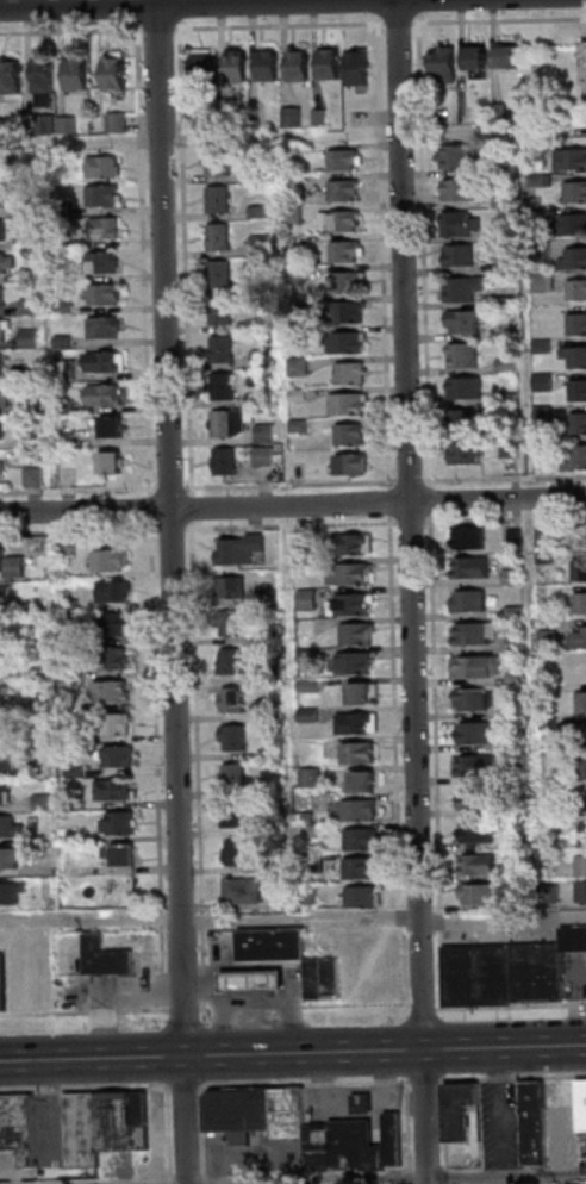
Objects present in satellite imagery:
road: (142, 4)
road: (393, 11)
road: (155, 14)
road: (495, 20)
road: (393, 23)
road: (275, 25)
road: (155, 30)
road: (69, 31)
building: (501, 57)
building: (472, 62)
building: (440, 63)
building: (197, 64)
building: (324, 64)
building: (581, 64)
building: (231, 66)
building: (262, 66)
building: (293, 66)
building: (353, 68)
building: (110, 74)
building: (73, 75)
building: (7, 77)
building: (38, 82)
building: (224, 110)
building: (495, 112)
building: (287, 118)
building: (316, 118)
building: (478, 118)
building: (112, 123)
building: (193, 123)
building: (42, 124)
building: (62, 125)
building: (0, 127)
building: (288, 150)
building: (531, 150)
building: (12, 157)
building: (450, 157)
building: (338, 160)
building: (568, 160)
building: (54, 162)
building: (214, 162)
building: (98, 167)
building: (497, 167)
building: (254, 175)
building: (535, 180)
building: (289, 183)
building: (338, 191)
building: (456, 191)
building: (573, 192)
building: (99, 195)
building: (0, 200)
building: (214, 200)
building: (500, 201)
building: (21, 208)
building: (55, 210)
building: (255, 212)
building: (535, 213)
building: (289, 216)
building: (336, 222)
building: (455, 224)
building: (567, 224)
building: (100, 229)
building: (0, 230)
building: (501, 233)
building: (214, 237)
building: (23, 241)
building: (257, 245)
building: (339, 251)
building: (536, 251)
road: (419, 254)
road: (379, 256)
building: (455, 256)
building: (572, 260)
road: (181, 262)
building: (5, 263)
building: (96, 263)
road: (139, 263)
building: (501, 264)
building: (216, 274)
building: (292, 275)
building: (25, 276)
building: (341, 282)
building: (537, 283)
building: (459, 288)
building: (574, 291)
building: (98, 294)
building: (1, 295)
building: (38, 298)
building: (503, 301)
building: (293, 304)
building: (25, 307)
building: (58, 307)
building: (216, 311)
building: (344, 313)
building: (460, 322)
building: (4, 325)
building: (574, 325)
building: (99, 329)
building: (25, 338)
building: (58, 342)
building: (341, 343)
building: (537, 347)
building: (218, 350)
building: (459, 356)
building: (572, 357)
building: (257, 359)
building: (0, 362)
building: (101, 363)
building: (501, 366)
building: (294, 367)
building: (62, 372)
building: (347, 374)
building: (26, 376)
building: (538, 382)
building: (219, 387)
building: (461, 388)
building: (575, 391)
building: (294, 394)
building: (99, 395)
building: (2, 398)
building: (251, 399)
building: (504, 399)
building: (342, 405)
building: (61, 407)
building: (27, 409)
building: (540, 416)
building: (457, 422)
building: (226, 423)
building: (576, 423)
building: (294, 425)
building: (108, 428)
building: (0, 429)
building: (505, 430)
building: (261, 434)
building: (345, 435)
building: (62, 440)
building: (27, 441)
building: (505, 449)
building: (461, 454)
building: (260, 456)
building: (572, 459)
building: (106, 462)
building: (220, 462)
building: (1, 465)
building: (347, 465)
road: (559, 476)
building: (30, 478)
road: (524, 478)
road: (467, 479)
road: (404, 481)
road: (341, 482)
road: (281, 484)
road: (225, 485)
road: (166, 487)
road: (104, 488)
road: (46, 491)
road: (19, 492)
road: (425, 500)
road: (385, 501)
road: (293, 506)
road: (187, 509)
road: (146, 510)
road: (559, 517)
road: (524, 518)
road: (467, 521)
road: (406, 523)
road: (341, 524)
road: (281, 526)
road: (226, 528)
road: (168, 530)
road: (77, 531)
building: (578, 537)
building: (463, 538)
building: (511, 538)
building: (538, 538)
building: (298, 542)
building: (344, 544)
building: (64, 548)
building: (236, 550)
building: (541, 559)
building: (105, 562)
building: (10, 566)
building: (465, 568)
building: (578, 571)
building: (343, 574)
building: (509, 577)
building: (226, 587)
building: (110, 591)
building: (4, 597)
building: (266, 597)
building: (303, 600)
building: (35, 602)
building: (465, 602)
road: (410, 603)
building: (578, 603)
building: (347, 605)
building: (66, 606)
road: (170, 606)
building: (510, 612)
building: (226, 623)
building: (110, 625)
building: (2, 628)
building: (301, 629)
building: (353, 634)
building: (468, 634)
building: (68, 637)
building: (267, 637)
building: (578, 638)
building: (544, 640)
building: (511, 643)
building: (301, 655)
building: (107, 659)
building: (2, 660)
building: (226, 661)
building: (349, 663)
building: (472, 666)
building: (580, 667)
building: (69, 672)
building: (267, 674)
building: (512, 678)
building: (303, 686)
building: (549, 687)
building: (107, 692)
building: (356, 696)
building: (0, 699)
building: (469, 699)
building: (229, 700)
building: (37, 703)
building: (580, 703)
building: (69, 704)
building: (269, 711)
building: (304, 716)
building: (546, 723)
building: (112, 724)
building: (350, 724)
building: (470, 733)
building: (580, 735)
building: (70, 737)
building: (230, 739)
building: (512, 742)
building: (269, 752)
building: (354, 754)
building: (114, 756)
road: (392, 760)
building: (6, 762)
road: (432, 764)
road: (193, 765)
building: (469, 766)
road: (154, 767)
building: (580, 768)
building: (70, 771)
building: (515, 772)
building: (229, 777)
building: (306, 777)
building: (359, 783)
building: (110, 791)
building: (1, 796)
building: (473, 799)
building: (37, 802)
building: (73, 804)
building: (516, 809)
building: (354, 811)
building: (230, 815)
building: (114, 824)
building: (7, 828)
building: (307, 831)
building: (472, 831)
building: (581, 834)
building: (73, 837)
building: (357, 840)
building: (516, 841)
building: (71, 850)
building: (232, 854)
building: (117, 855)
building: (551, 855)
building: (6, 859)
building: (479, 864)
building: (360, 866)
building: (582, 866)
building: (525, 872)
building: (242, 890)
building: (13, 891)
building: (584, 891)
building: (557, 893)
building: (481, 895)
building: (359, 896)
building: (523, 897)
road: (92, 918)
road: (304, 920)
road: (505, 920)
building: (575, 939)
building: (276, 942)
building: (110, 955)
building: (541, 972)
building: (328, 976)
building: (482, 976)
building: (5, 979)
building: (256, 979)
road: (263, 997)
road: (306, 1005)
road: (425, 1005)
road: (512, 1007)
road: (186, 1009)
road: (86, 1012)
road: (229, 1026)
road: (293, 1053)
road: (513, 1078)
road: (428, 1080)
road: (307, 1084)
road: (187, 1088)
road: (87, 1090)
building: (565, 1095)
road: (357, 1102)
building: (366, 1102)
building: (584, 1103)
building: (462, 1109)
road: (504, 1110)
building: (260, 1111)
building: (143, 1120)
building: (119, 1122)
building: (538, 1123)
building: (19, 1124)
parking lot: (505, 1124)
building: (86, 1129)
road: (447, 1132)
road: (412, 1133)
road: (172, 1135)
road: (207, 1135)
building: (355, 1145)
road: (379, 1177)
building: (525, 1183)

